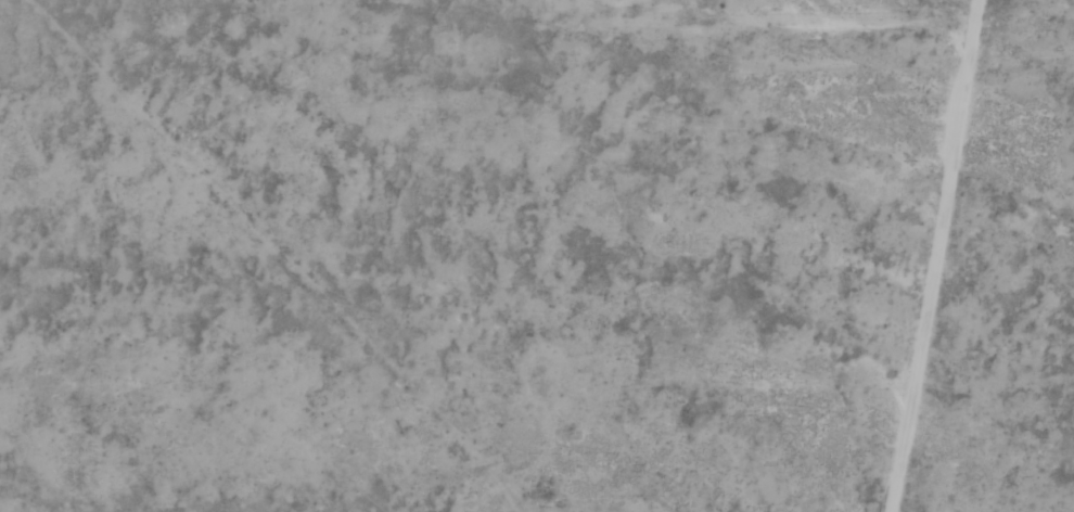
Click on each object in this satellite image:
road: (926, 256)

